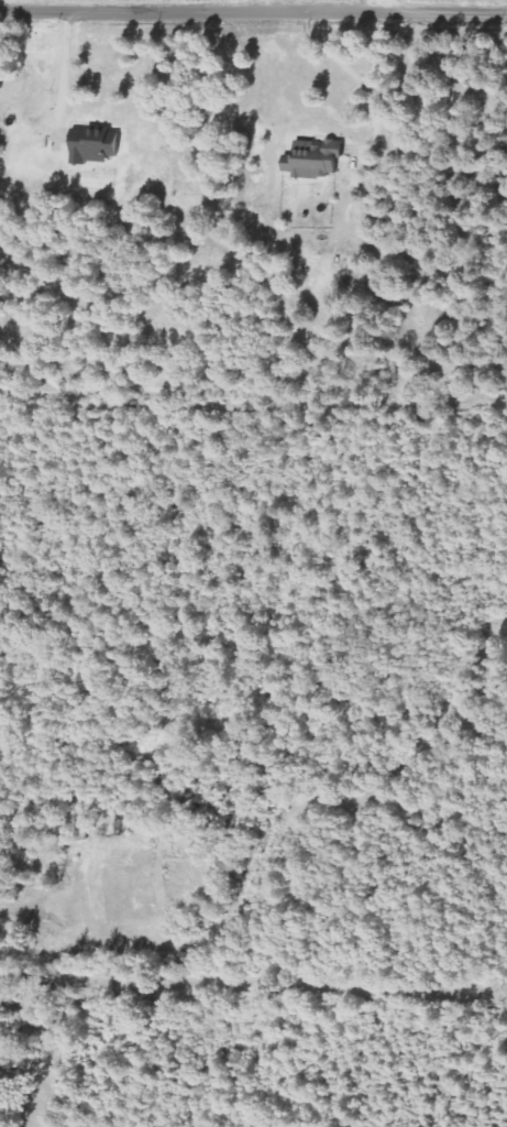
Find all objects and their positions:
road: (253, 13)
building: (96, 147)
building: (316, 160)

